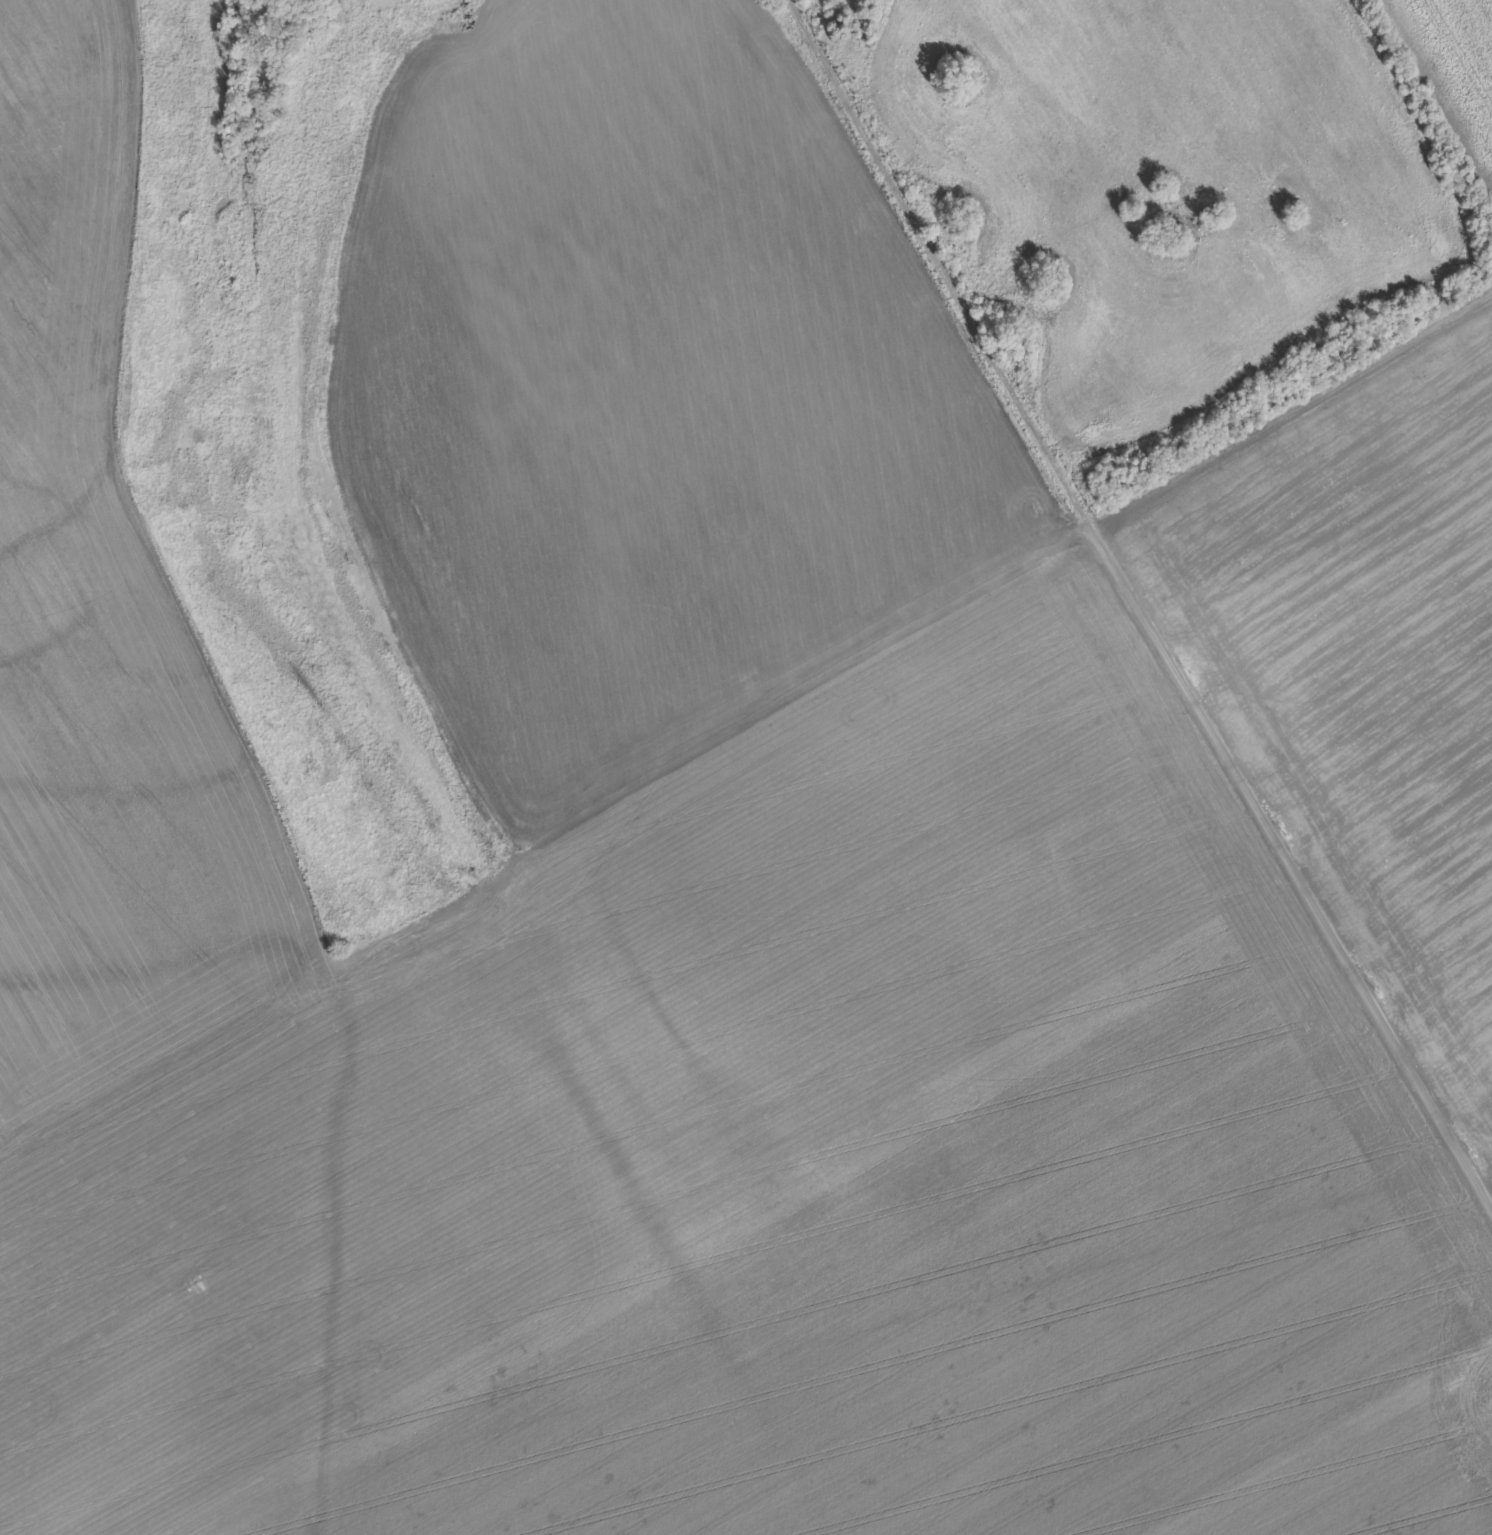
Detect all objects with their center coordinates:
road: (1289, 390)
road: (1138, 601)

